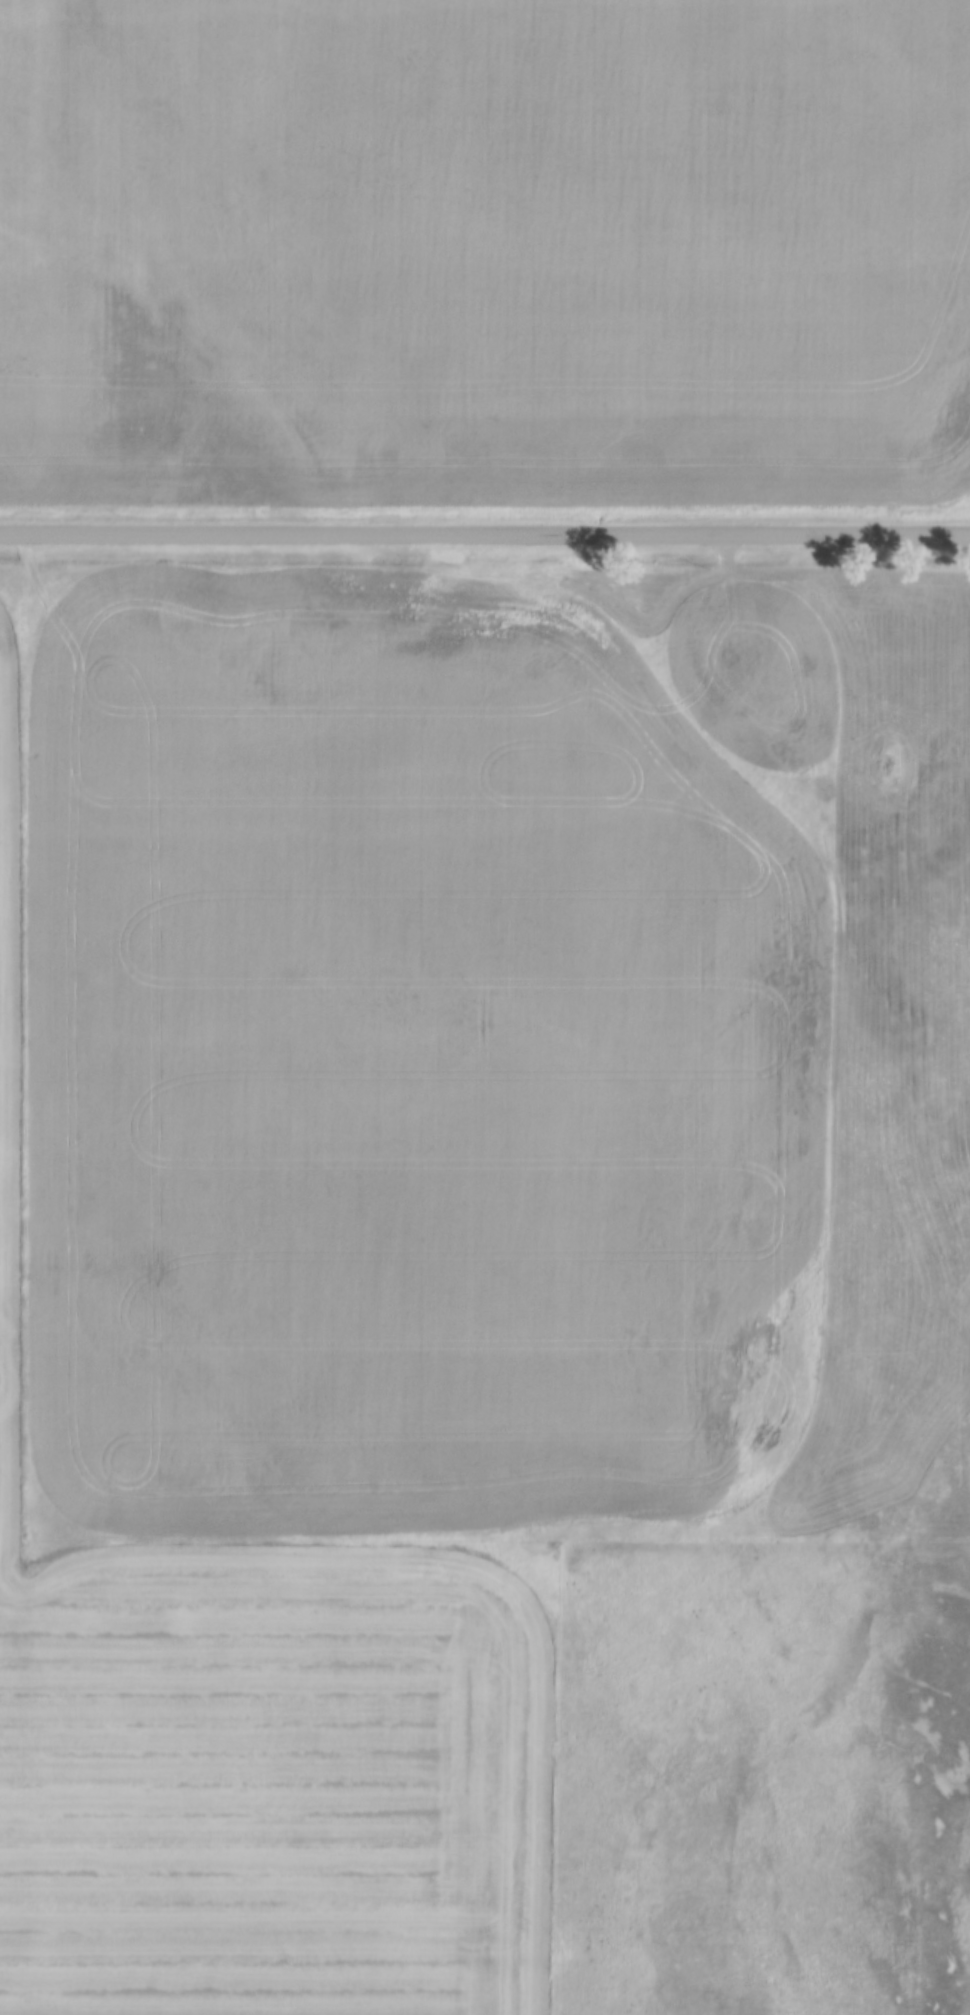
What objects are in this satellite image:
road: (485, 535)

